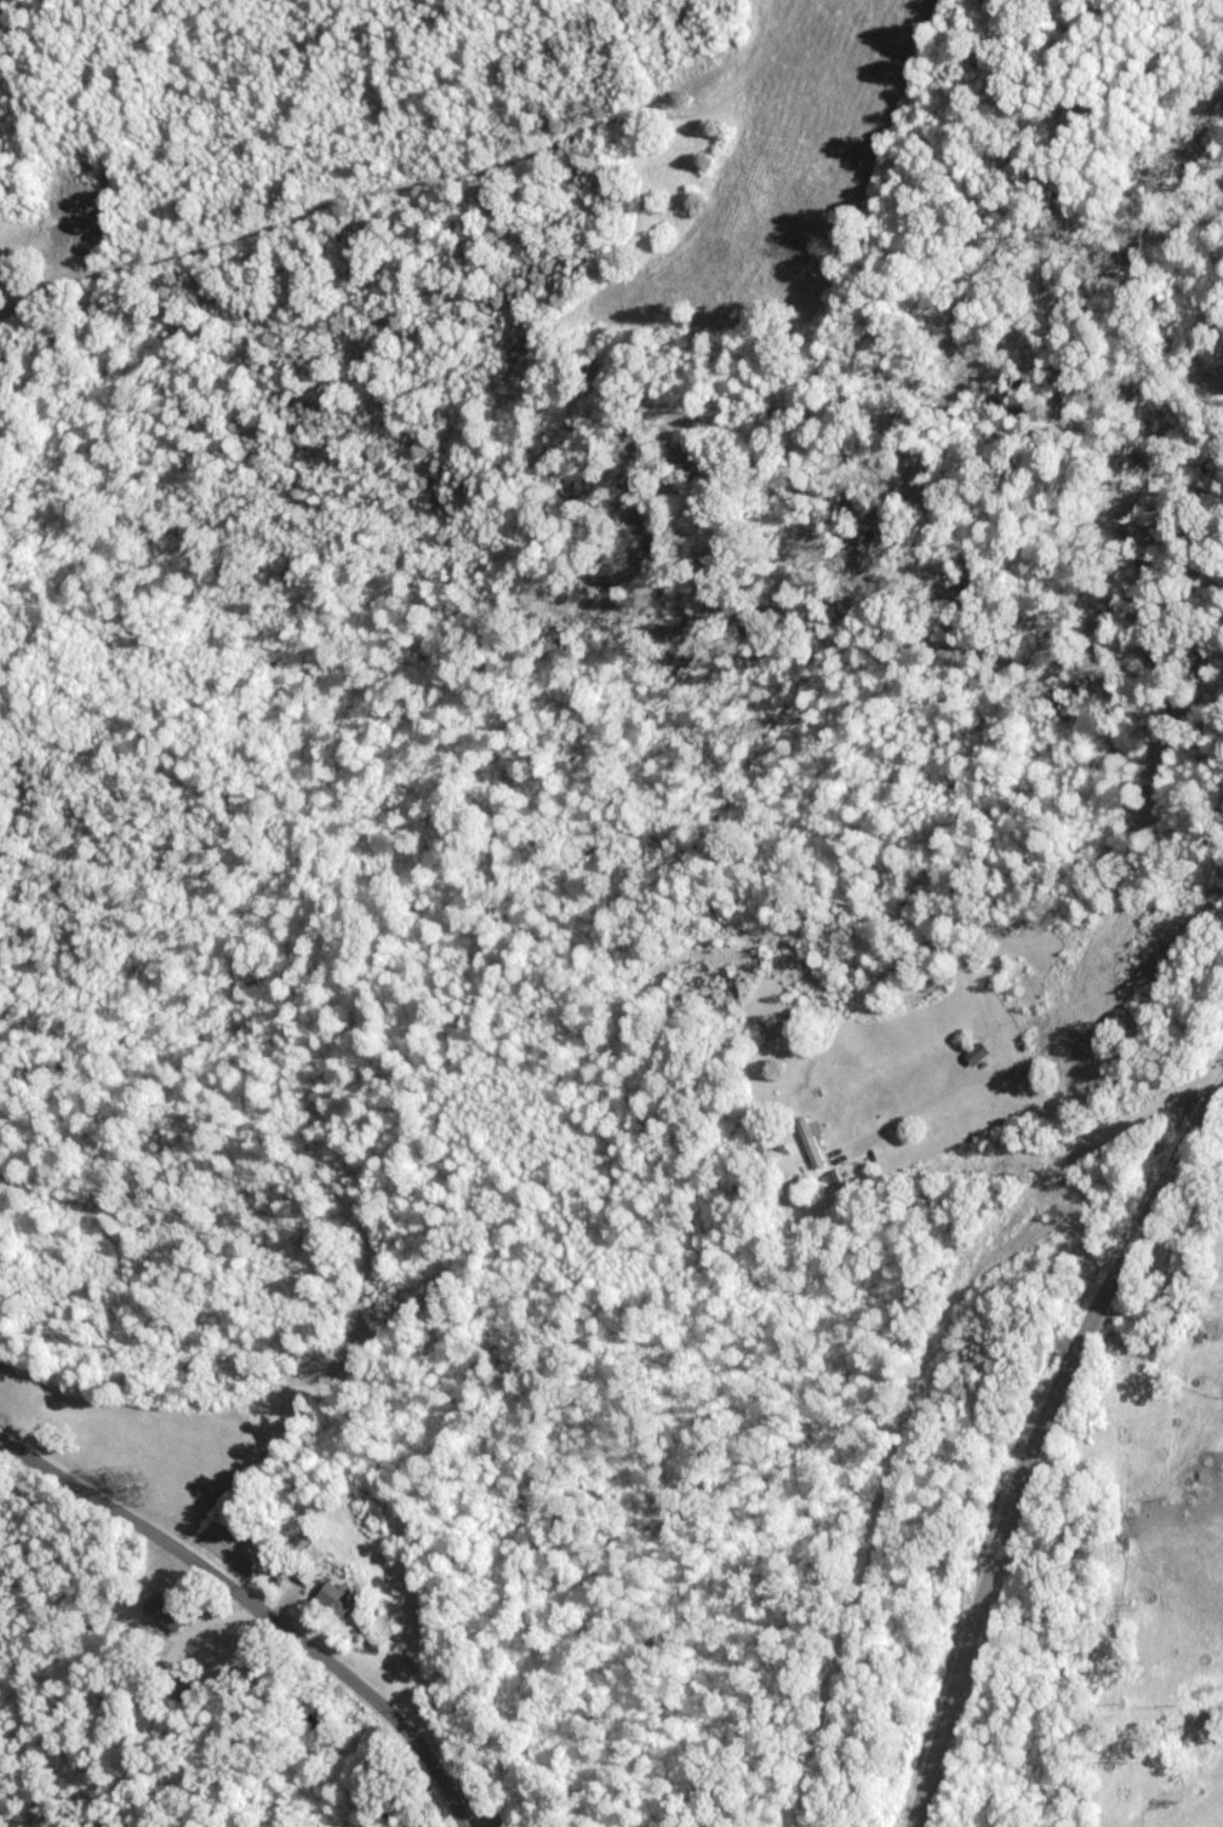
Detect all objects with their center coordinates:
building: (979, 1052)
building: (811, 1137)
road: (1036, 1444)
building: (313, 1571)
building: (342, 1598)
road: (258, 1605)
building: (167, 1611)
road: (1081, 1642)

